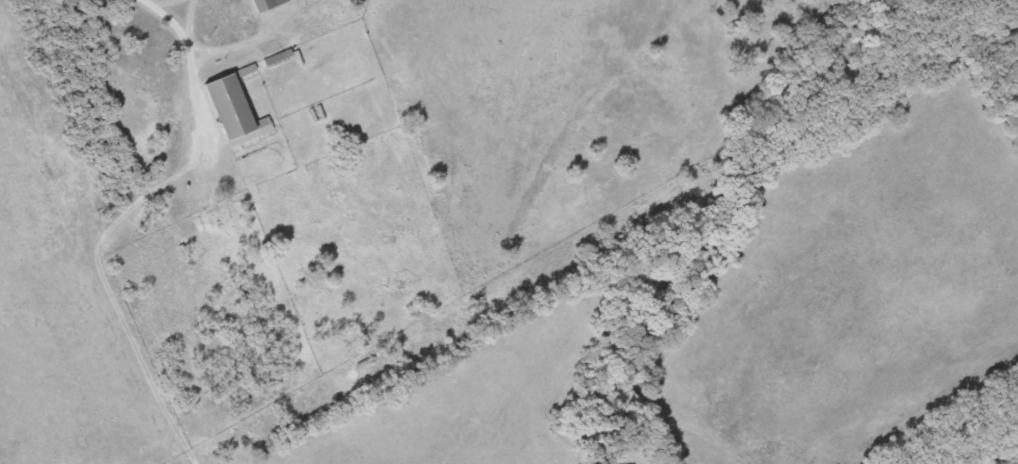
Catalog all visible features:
building: (258, 5)
road: (191, 22)
road: (190, 63)
building: (227, 112)

